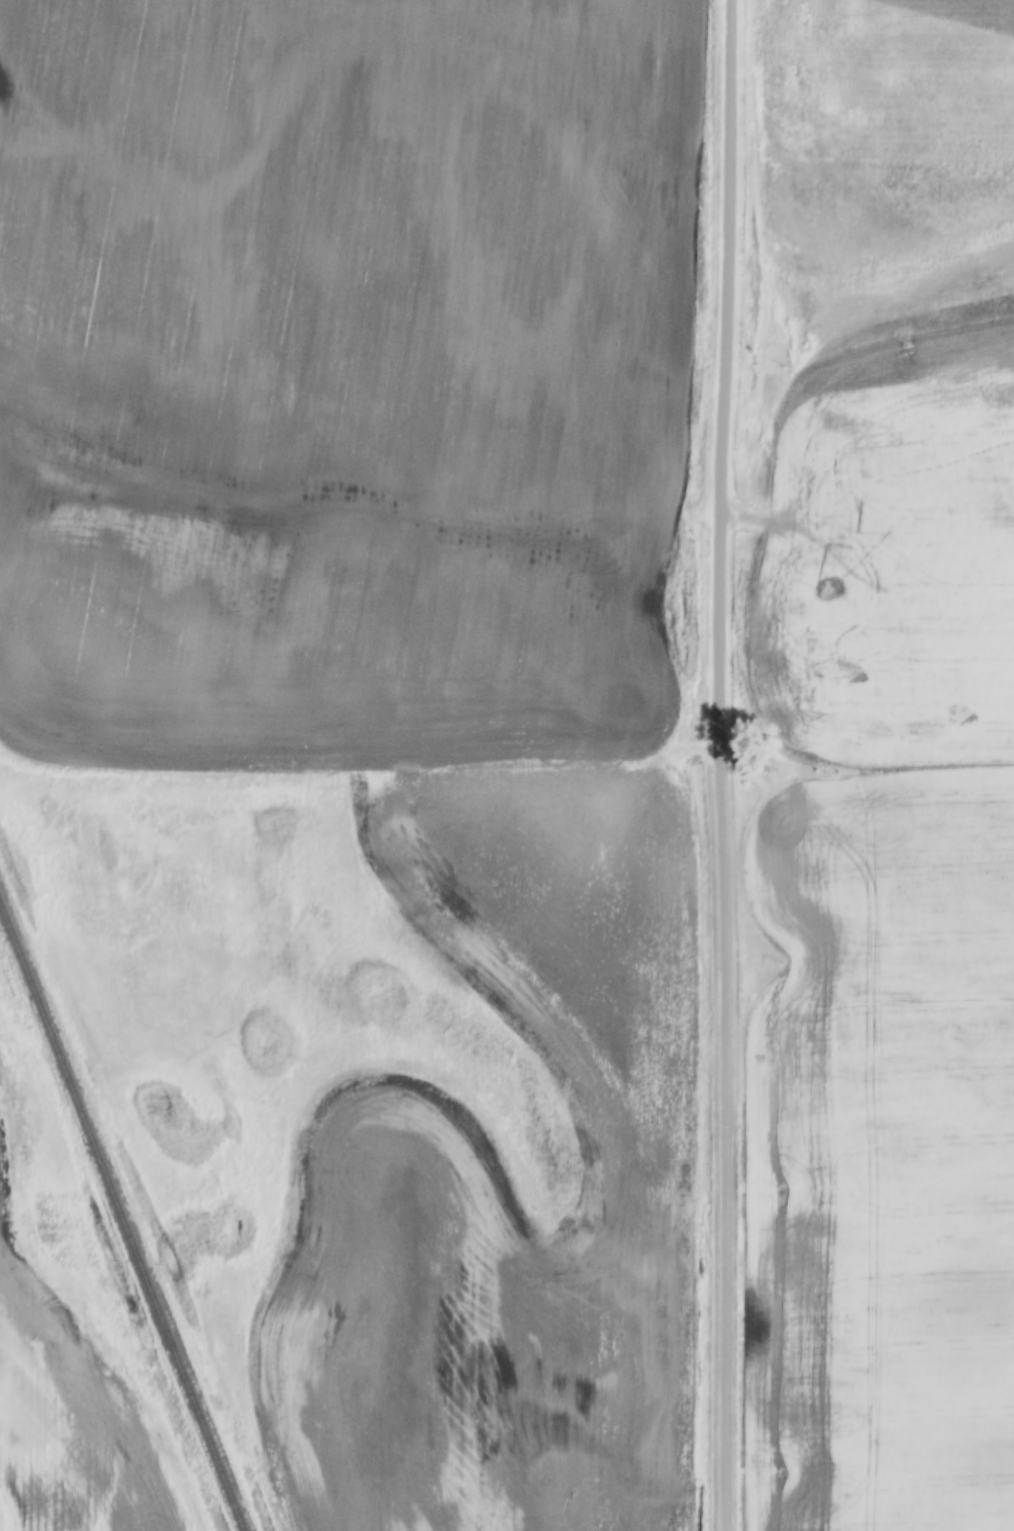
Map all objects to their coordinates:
road: (819, 543)
road: (715, 765)
railway: (121, 1219)

